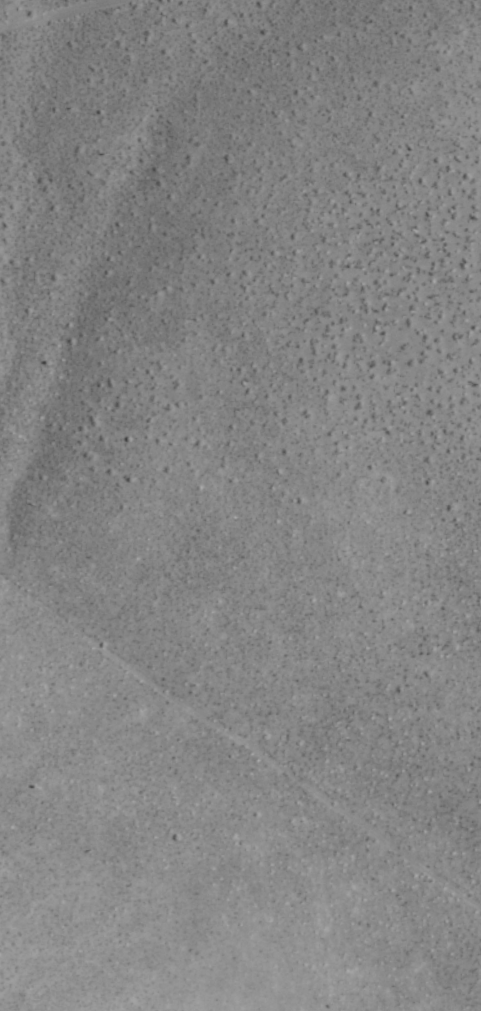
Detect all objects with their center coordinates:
road: (51, 12)
road: (240, 740)

